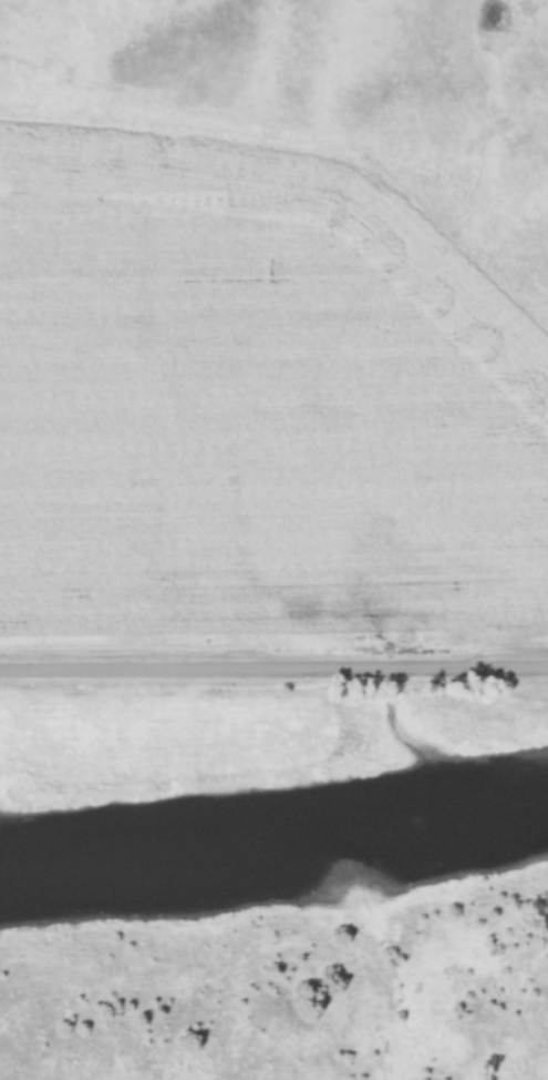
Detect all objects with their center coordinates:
road: (273, 668)

